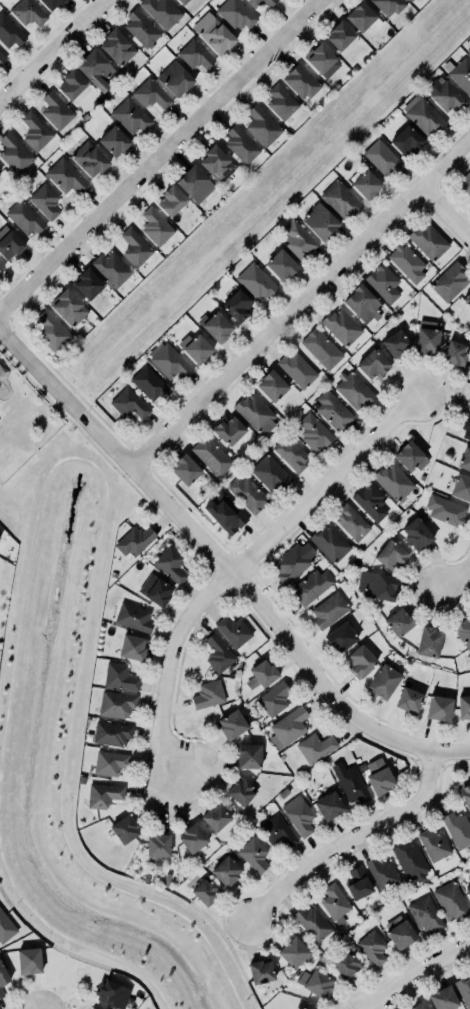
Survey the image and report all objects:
building: (410, 0)
building: (182, 1)
building: (52, 3)
building: (254, 4)
building: (389, 5)
building: (161, 11)
building: (28, 12)
building: (236, 13)
building: (361, 15)
building: (141, 27)
building: (9, 31)
building: (212, 33)
building: (340, 34)
building: (118, 46)
road: (52, 50)
building: (468, 50)
building: (195, 55)
building: (2, 56)
building: (322, 59)
building: (95, 68)
building: (461, 74)
building: (174, 78)
building: (301, 80)
building: (72, 83)
building: (150, 94)
building: (445, 95)
building: (281, 101)
building: (56, 110)
building: (423, 114)
building: (85, 116)
building: (129, 116)
building: (262, 125)
building: (35, 131)
building: (407, 139)
building: (114, 141)
building: (241, 144)
building: (15, 153)
road: (159, 155)
building: (89, 158)
building: (382, 158)
building: (217, 163)
building: (64, 176)
building: (364, 182)
building: (465, 183)
building: (195, 184)
building: (341, 199)
building: (45, 200)
building: (171, 200)
road: (445, 215)
building: (24, 217)
building: (320, 221)
building: (156, 226)
building: (298, 240)
building: (428, 241)
building: (10, 244)
building: (135, 247)
building: (407, 262)
building: (282, 264)
building: (1, 265)
building: (112, 268)
building: (255, 281)
building: (449, 281)
building: (383, 282)
building: (88, 283)
building: (467, 299)
building: (362, 302)
building: (237, 304)
road: (299, 304)
building: (69, 307)
road: (9, 317)
building: (216, 326)
building: (341, 326)
building: (51, 331)
building: (427, 340)
road: (27, 342)
building: (396, 343)
building: (196, 347)
building: (321, 348)
building: (455, 353)
building: (169, 360)
building: (373, 364)
building: (297, 370)
road: (25, 375)
building: (148, 383)
road: (69, 385)
building: (273, 385)
building: (353, 390)
building: (468, 398)
road: (48, 402)
building: (129, 403)
building: (333, 410)
building: (469, 410)
building: (255, 413)
park: (23, 415)
road: (23, 425)
road: (108, 425)
building: (466, 428)
building: (228, 429)
building: (314, 432)
road: (129, 446)
building: (291, 453)
building: (211, 455)
building: (409, 455)
road: (104, 458)
building: (465, 460)
road: (55, 462)
building: (186, 469)
building: (270, 472)
building: (393, 481)
road: (325, 486)
building: (461, 487)
building: (248, 493)
building: (369, 501)
building: (446, 510)
building: (225, 512)
building: (351, 521)
building: (417, 534)
building: (134, 540)
building: (329, 543)
building: (391, 554)
building: (293, 562)
building: (170, 564)
road: (223, 565)
road: (453, 584)
building: (377, 585)
building: (310, 586)
building: (159, 591)
road: (20, 606)
building: (329, 609)
road: (84, 613)
building: (134, 617)
building: (399, 622)
building: (234, 631)
building: (464, 632)
building: (341, 637)
building: (429, 642)
building: (132, 647)
building: (218, 653)
building: (361, 661)
building: (264, 673)
building: (119, 677)
building: (384, 681)
building: (208, 694)
building: (274, 698)
building: (409, 699)
building: (116, 704)
building: (439, 707)
building: (464, 707)
building: (232, 724)
road: (160, 725)
building: (287, 727)
building: (111, 733)
road: (2, 734)
park: (79, 740)
building: (315, 747)
building: (249, 756)
building: (109, 762)
building: (378, 776)
building: (350, 782)
building: (240, 791)
building: (283, 793)
building: (103, 795)
building: (466, 795)
building: (329, 806)
building: (298, 815)
building: (216, 817)
building: (125, 829)
building: (457, 829)
building: (277, 831)
building: (193, 838)
road: (352, 841)
building: (434, 844)
building: (159, 845)
building: (254, 854)
building: (410, 860)
building: (226, 871)
building: (383, 874)
building: (358, 883)
building: (468, 890)
building: (206, 891)
road: (17, 892)
road: (132, 895)
building: (450, 901)
building: (335, 903)
building: (425, 914)
building: (312, 923)
building: (6, 927)
building: (399, 932)
building: (372, 947)
road: (102, 951)
building: (295, 952)
building: (29, 960)
building: (345, 964)
building: (261, 971)
road: (416, 971)
building: (3, 975)
building: (316, 983)
building: (464, 990)
building: (112, 992)
building: (1, 993)
road: (161, 997)
building: (443, 998)
building: (420, 1005)
building: (309, 1007)
building: (90, 1008)
building: (93, 1008)

